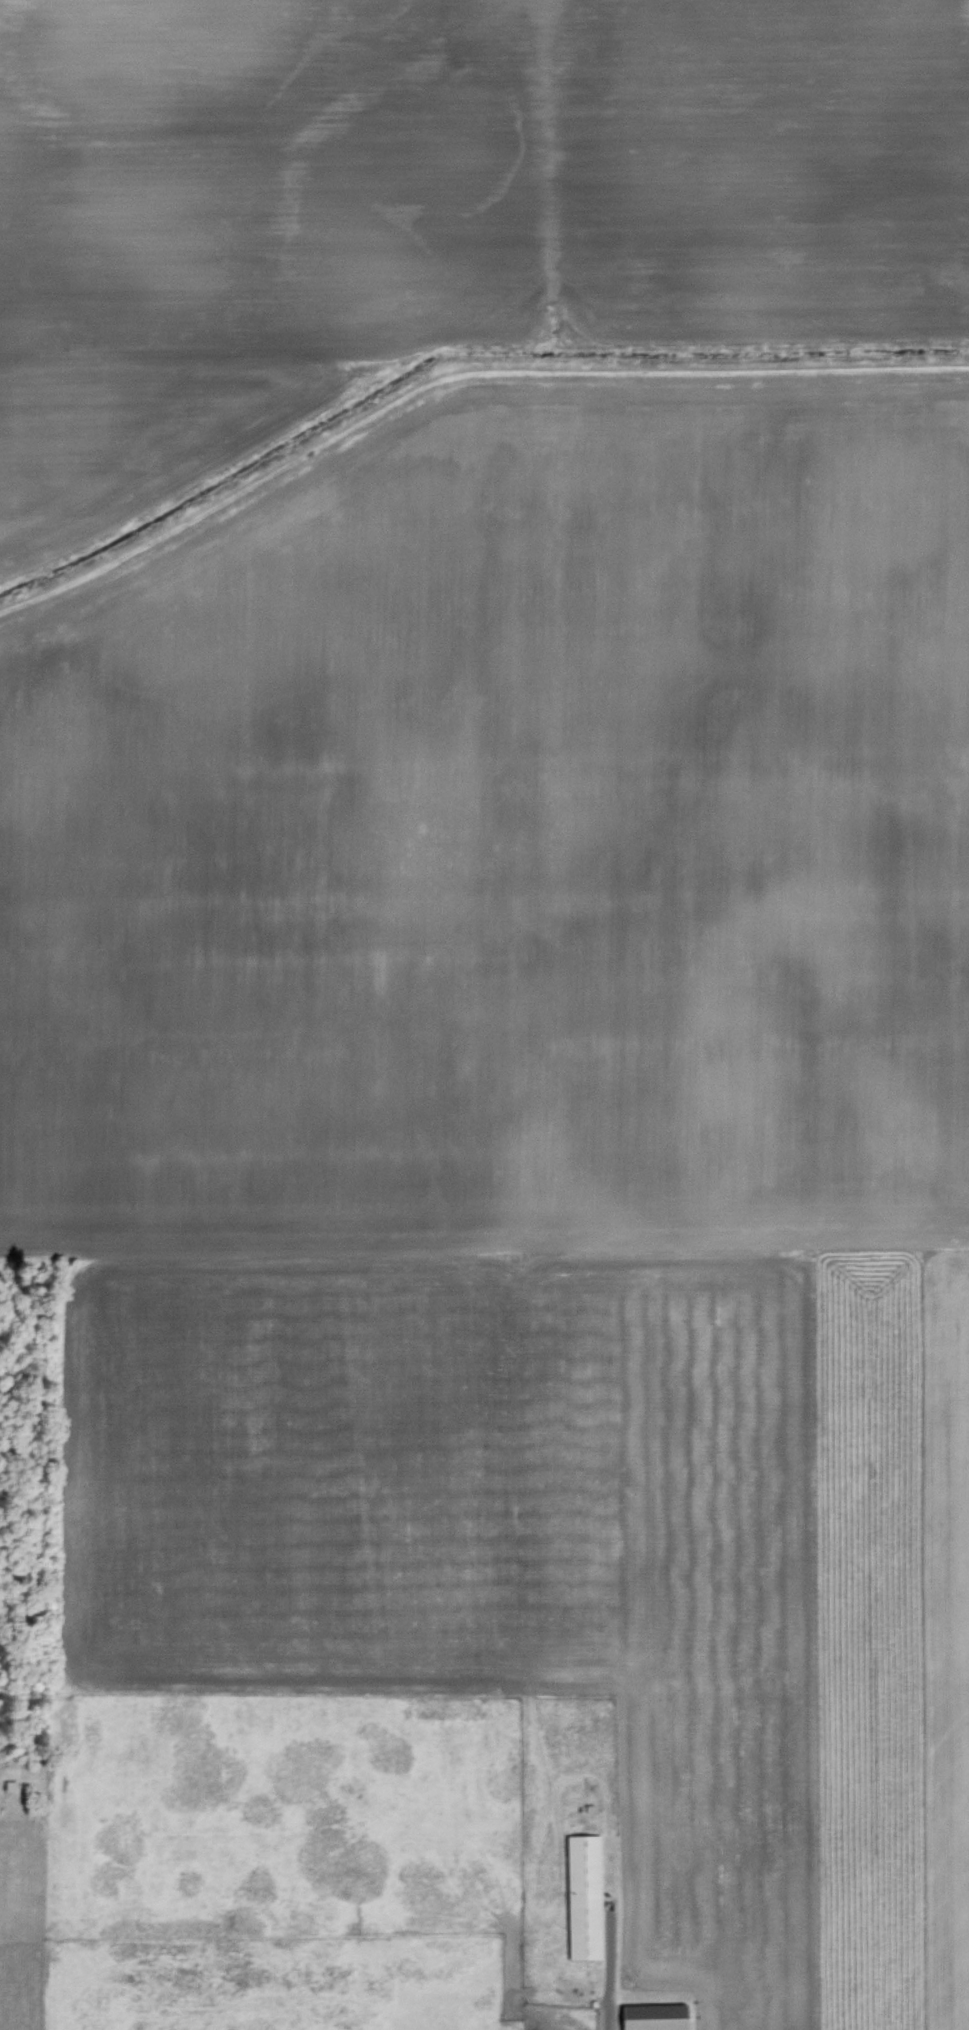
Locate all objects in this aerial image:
building: (582, 1896)
building: (652, 2016)

